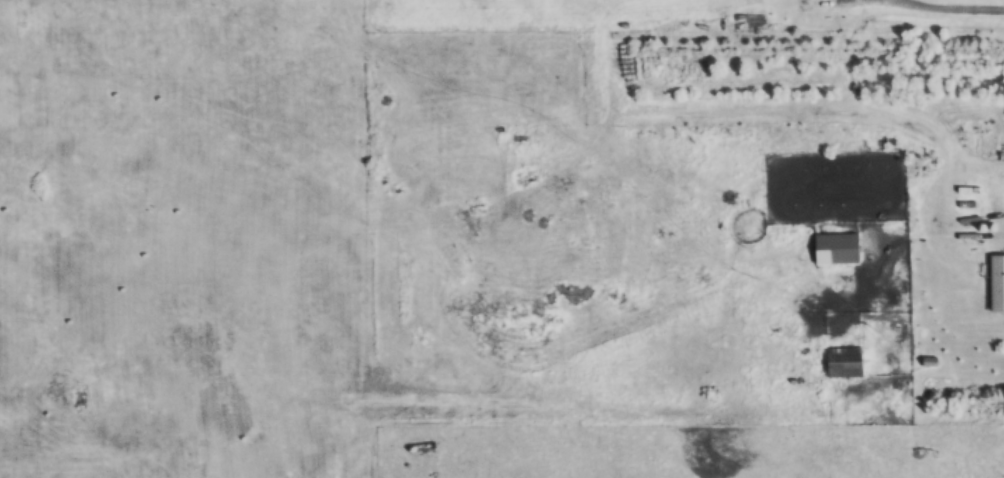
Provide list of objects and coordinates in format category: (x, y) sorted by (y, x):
road: (951, 8)
building: (837, 248)
building: (998, 282)
building: (846, 361)

